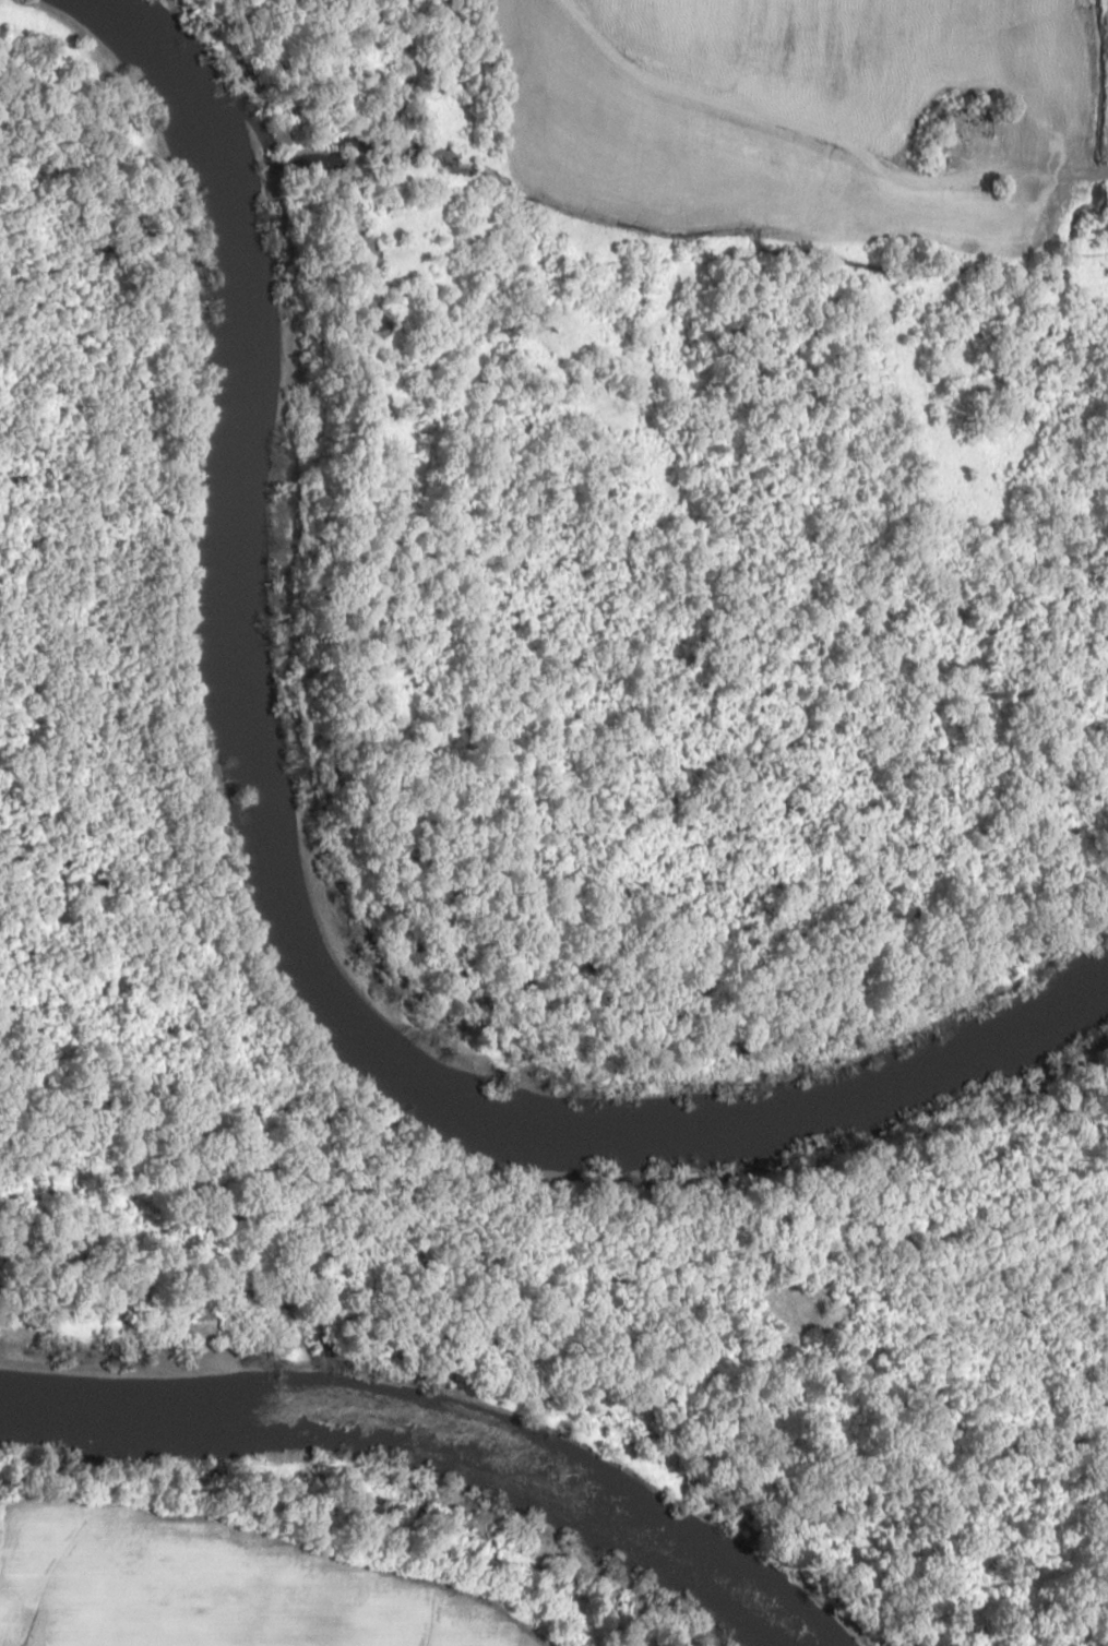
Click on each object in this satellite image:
road: (837, 129)
river: (284, 914)
river: (429, 1434)

